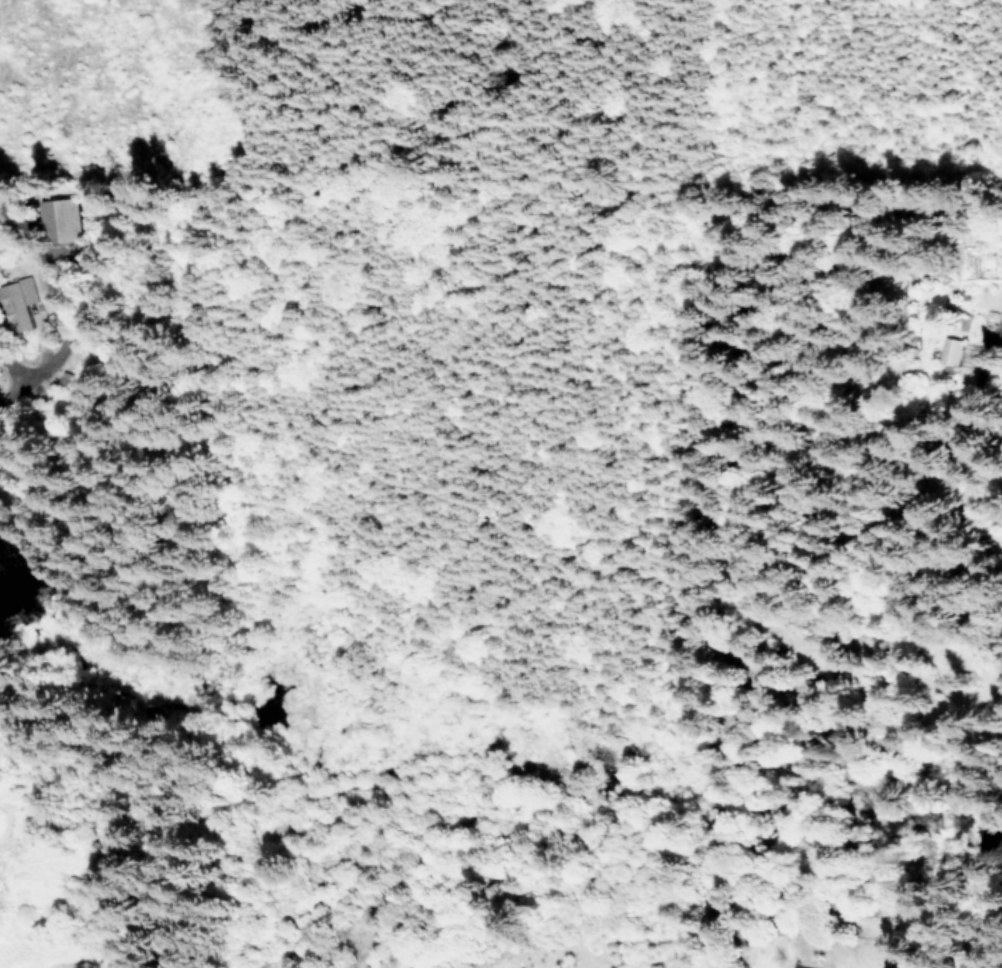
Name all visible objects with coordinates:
building: (70, 217)
building: (17, 303)
building: (956, 350)
building: (804, 967)

